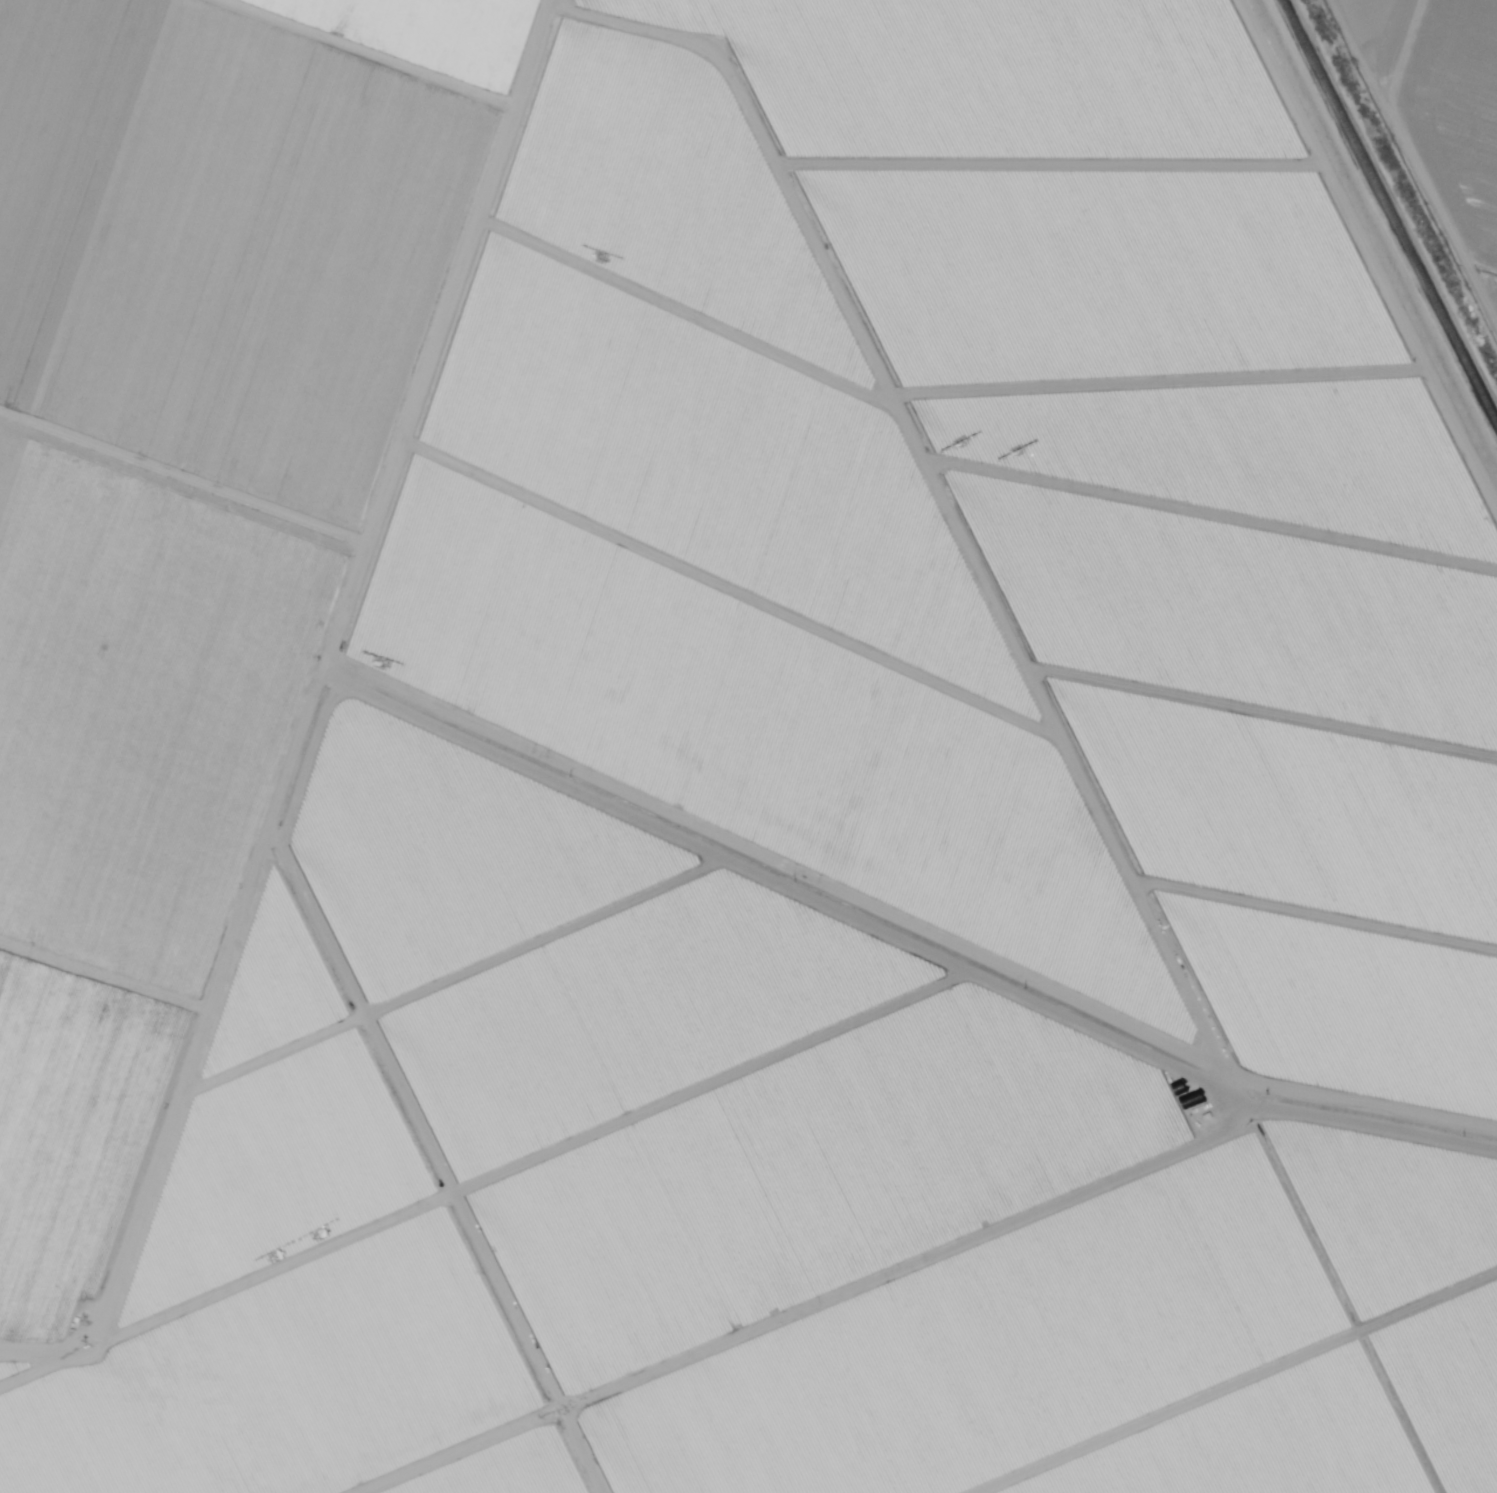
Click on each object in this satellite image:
crop: (1377, 29)
crop: (432, 35)
crop: (1452, 99)
crop: (1069, 154)
railway: (1389, 212)
crop: (227, 240)
crop: (1483, 250)
crop: (1180, 412)
crop: (722, 544)
crop: (1241, 609)
crop: (143, 708)
crop: (1294, 806)
crop: (274, 947)
crop: (1343, 1000)
crop: (680, 1058)
road: (1362, 1114)
crop: (75, 1138)
crop: (277, 1156)
crop: (1131, 1345)
crop: (14, 1366)
crop: (284, 1382)
crop: (510, 1468)

